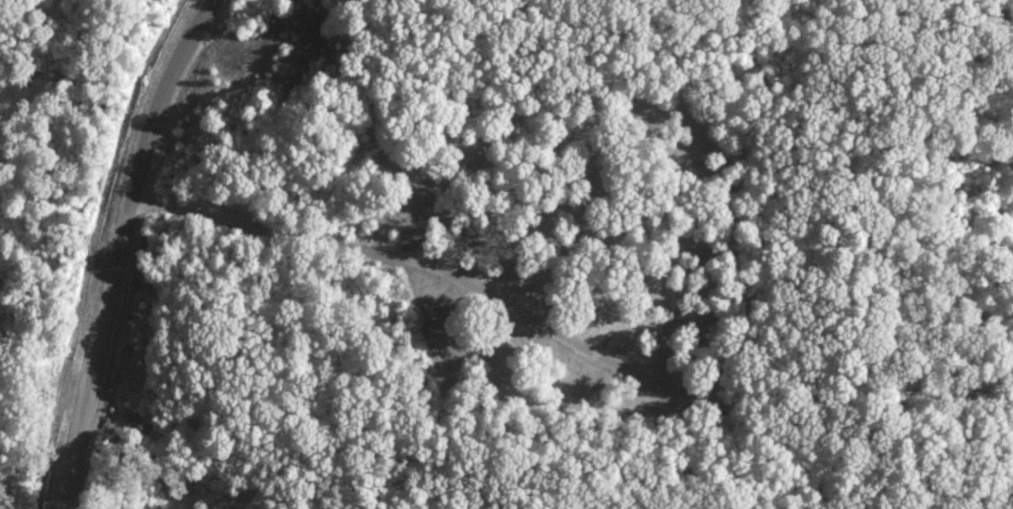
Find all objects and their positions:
road: (90, 178)
road: (119, 249)
road: (507, 304)
road: (13, 486)

